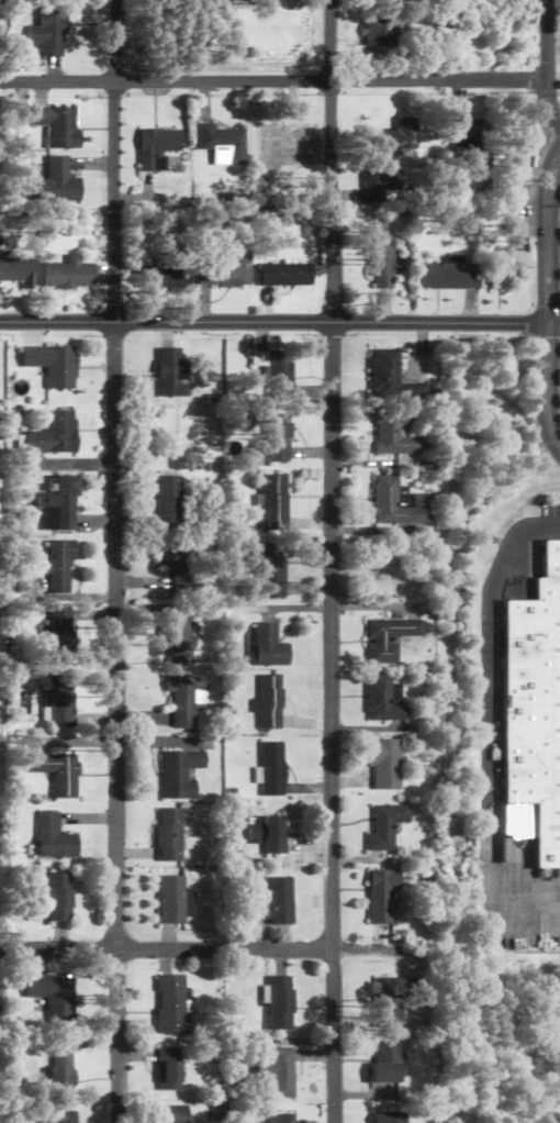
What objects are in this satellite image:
building: (49, 31)
building: (382, 32)
road: (546, 65)
road: (272, 81)
building: (57, 126)
building: (397, 136)
building: (284, 141)
building: (468, 141)
building: (158, 145)
building: (223, 145)
building: (52, 185)
building: (380, 185)
road: (552, 223)
road: (546, 240)
building: (380, 262)
building: (506, 267)
building: (227, 268)
building: (20, 273)
building: (68, 275)
building: (284, 275)
building: (448, 275)
building: (164, 277)
road: (273, 323)
road: (553, 323)
building: (54, 365)
building: (172, 373)
building: (275, 373)
building: (391, 379)
road: (548, 386)
building: (55, 434)
building: (393, 434)
building: (269, 437)
building: (387, 501)
building: (167, 502)
building: (272, 502)
building: (59, 505)
road: (549, 526)
road: (115, 560)
road: (329, 561)
building: (59, 567)
building: (178, 567)
building: (270, 571)
building: (58, 626)
building: (389, 638)
building: (180, 643)
building: (269, 647)
building: (184, 699)
building: (384, 700)
building: (58, 702)
building: (270, 703)
building: (535, 705)
building: (384, 764)
building: (272, 769)
building: (56, 772)
building: (180, 774)
building: (387, 826)
building: (255, 834)
building: (169, 835)
building: (273, 835)
building: (54, 838)
building: (382, 896)
building: (58, 898)
building: (171, 900)
building: (275, 902)
road: (205, 949)
building: (53, 997)
building: (389, 1001)
building: (279, 1003)
building: (170, 1005)
building: (384, 1064)
building: (168, 1070)
building: (277, 1072)
building: (59, 1078)
building: (172, 1114)
building: (57, 1116)
building: (390, 1118)
building: (275, 1119)

